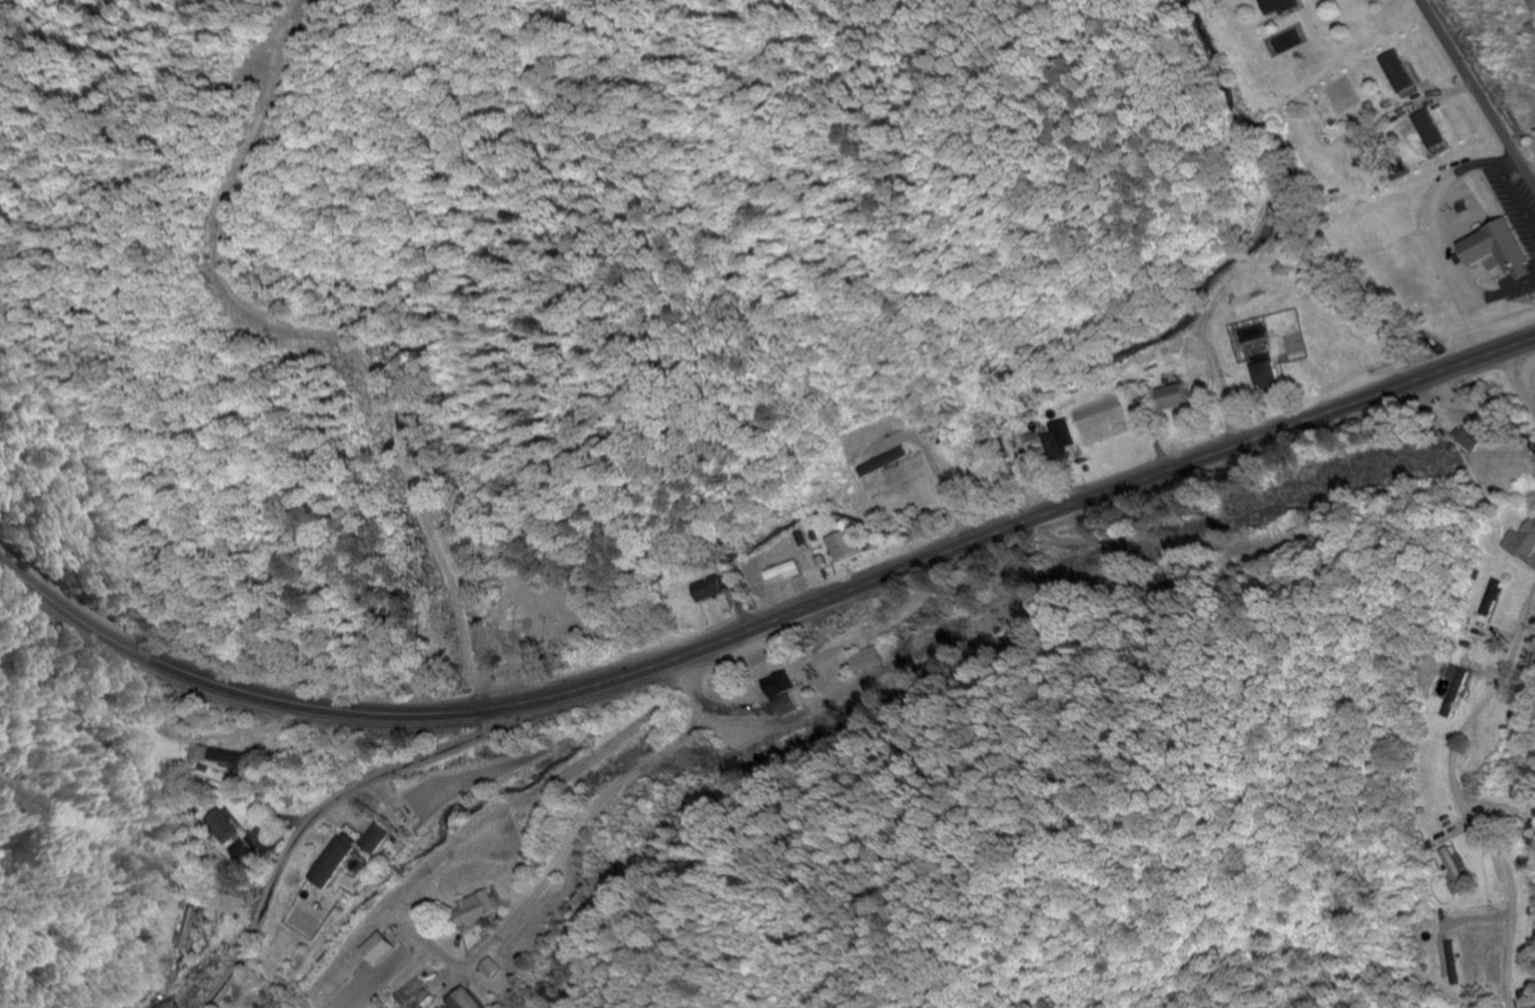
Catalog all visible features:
building: (1278, 7)
building: (1396, 71)
road: (1475, 94)
building: (1427, 132)
building: (1502, 257)
building: (1264, 371)
building: (1173, 396)
road: (1487, 420)
building: (958, 427)
building: (1052, 445)
building: (886, 457)
building: (1521, 541)
building: (840, 545)
building: (708, 590)
building: (1490, 598)
road: (767, 620)
building: (522, 628)
building: (865, 659)
building: (777, 685)
building: (1447, 692)
building: (782, 706)
road: (1046, 753)
building: (223, 756)
road: (345, 795)
road: (1460, 799)
building: (222, 825)
building: (241, 851)
road: (587, 852)
building: (331, 861)
building: (1455, 870)
building: (472, 908)
building: (186, 928)
building: (463, 1000)

